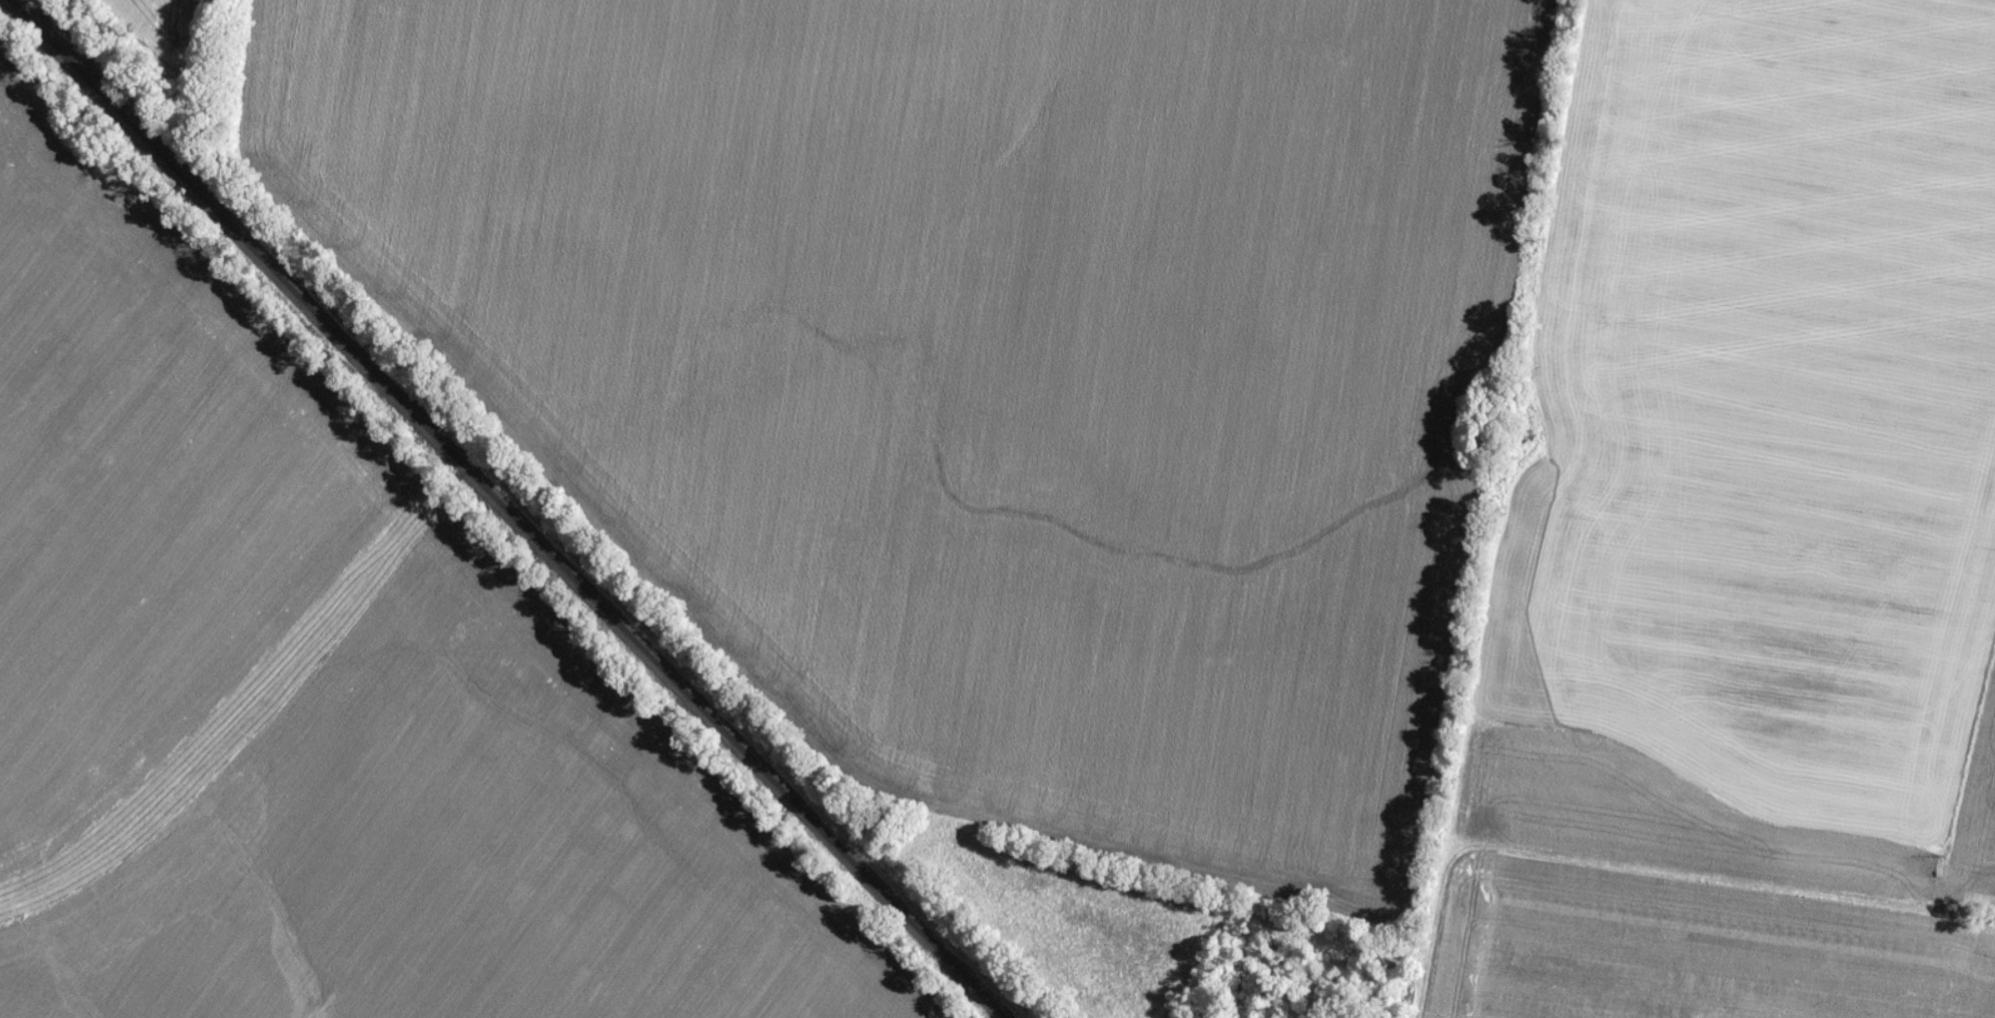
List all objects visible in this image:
railway: (513, 508)

